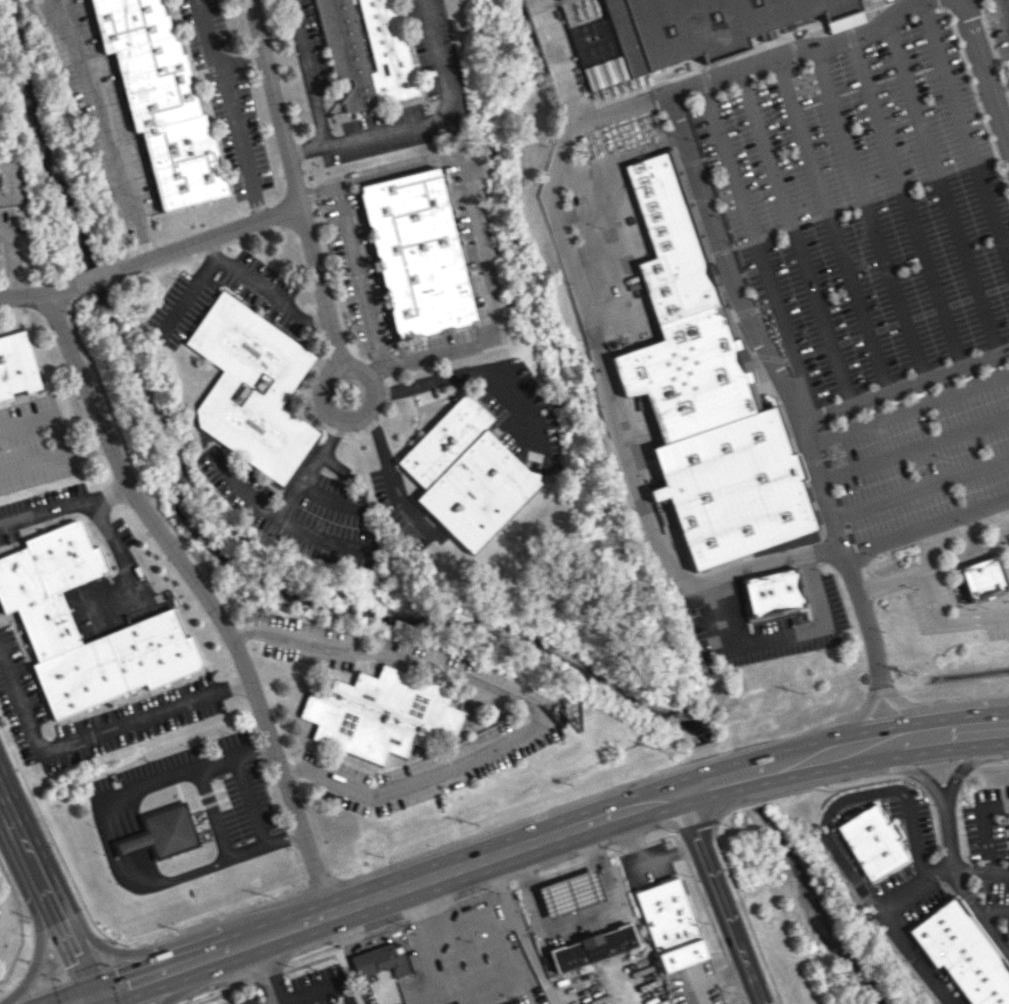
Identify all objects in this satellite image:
road: (1003, 16)
building: (697, 26)
parking lot: (999, 31)
building: (384, 34)
road: (747, 59)
road: (241, 62)
road: (984, 71)
road: (308, 72)
building: (159, 99)
road: (230, 110)
road: (442, 116)
road: (105, 129)
road: (965, 129)
road: (307, 150)
road: (940, 181)
road: (294, 184)
road: (903, 194)
road: (864, 207)
parking lot: (866, 207)
road: (470, 219)
road: (828, 219)
road: (791, 232)
road: (210, 238)
road: (756, 244)
building: (416, 253)
road: (12, 258)
road: (98, 277)
road: (356, 277)
road: (196, 283)
road: (61, 290)
road: (23, 293)
road: (270, 293)
road: (581, 296)
building: (16, 365)
road: (377, 370)
road: (472, 373)
road: (904, 381)
road: (784, 385)
building: (251, 387)
building: (702, 395)
road: (908, 409)
road: (354, 415)
road: (45, 419)
road: (914, 446)
parking lot: (921, 455)
road: (55, 459)
building: (466, 474)
road: (389, 478)
road: (920, 490)
road: (65, 502)
road: (284, 504)
road: (319, 535)
road: (851, 552)
road: (124, 570)
building: (981, 577)
building: (770, 593)
road: (203, 596)
road: (930, 596)
building: (46, 624)
road: (781, 636)
road: (523, 708)
road: (915, 712)
building: (380, 713)
road: (859, 721)
road: (999, 727)
road: (971, 730)
road: (94, 731)
road: (912, 738)
road: (856, 748)
road: (966, 761)
road: (984, 765)
road: (760, 768)
road: (908, 769)
road: (186, 770)
road: (933, 770)
parking lot: (211, 792)
road: (856, 797)
road: (250, 800)
road: (756, 800)
road: (210, 814)
road: (984, 825)
building: (168, 830)
road: (143, 836)
road: (134, 838)
road: (914, 838)
road: (118, 840)
road: (127, 841)
building: (871, 841)
building: (130, 843)
road: (263, 845)
road: (27, 848)
road: (642, 865)
road: (687, 865)
road: (849, 870)
road: (979, 870)
road: (435, 875)
road: (130, 884)
building: (570, 893)
road: (721, 897)
road: (902, 902)
road: (992, 908)
road: (979, 912)
road: (430, 915)
building: (669, 924)
road: (520, 931)
road: (493, 938)
building: (592, 947)
road: (75, 948)
road: (111, 951)
road: (1008, 951)
road: (37, 954)
building: (962, 954)
building: (380, 960)
road: (264, 971)
road: (429, 971)
road: (729, 974)
road: (142, 978)
road: (709, 980)
road: (173, 983)
road: (316, 988)
traffic signals: (97, 994)
road: (737, 994)
road: (82, 999)
road: (99, 999)
road: (424, 999)
road: (273, 1003)

